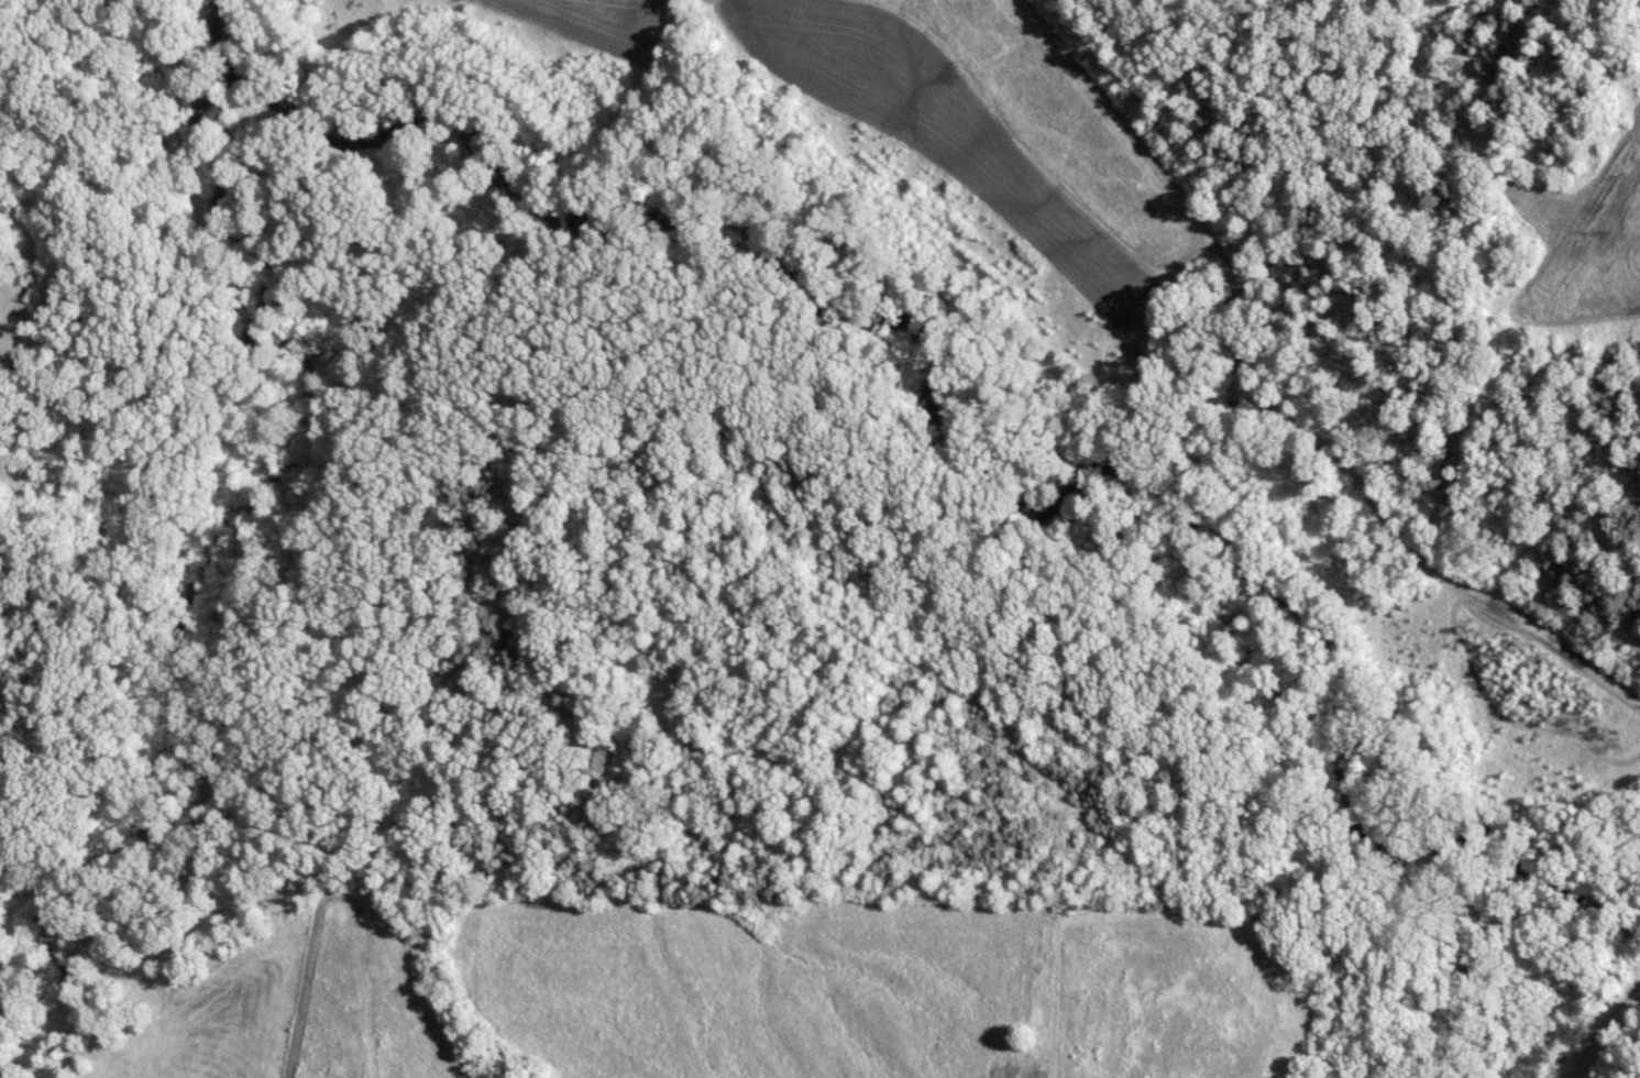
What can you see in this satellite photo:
road: (1604, 1028)

